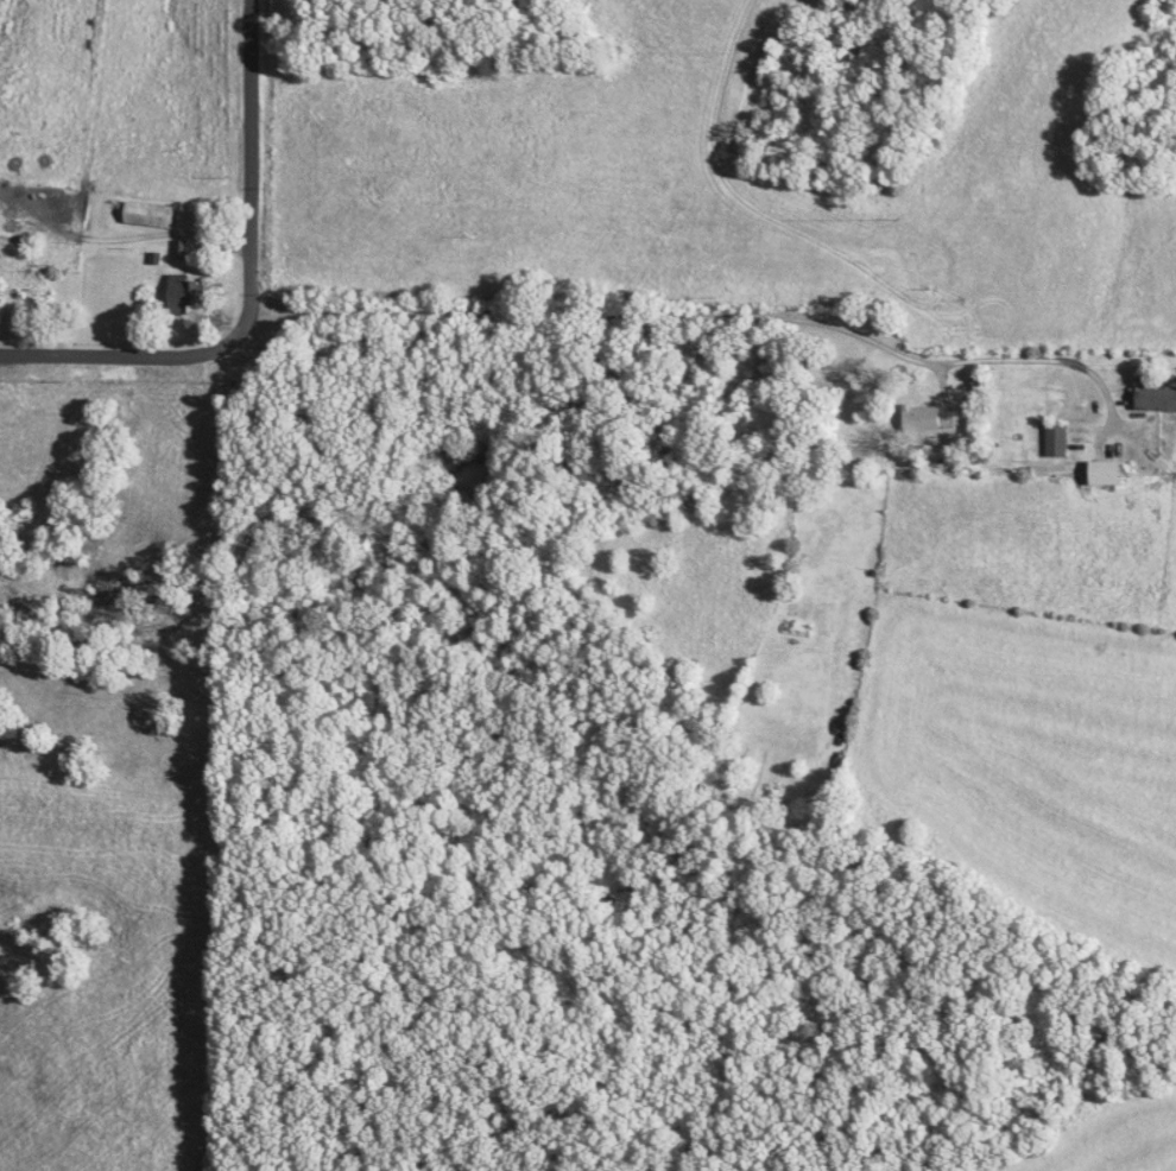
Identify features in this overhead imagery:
building: (154, 216)
road: (116, 241)
building: (186, 253)
road: (240, 285)
building: (189, 296)
road: (723, 316)
building: (1159, 401)
building: (927, 423)
building: (1061, 443)
building: (1113, 475)

